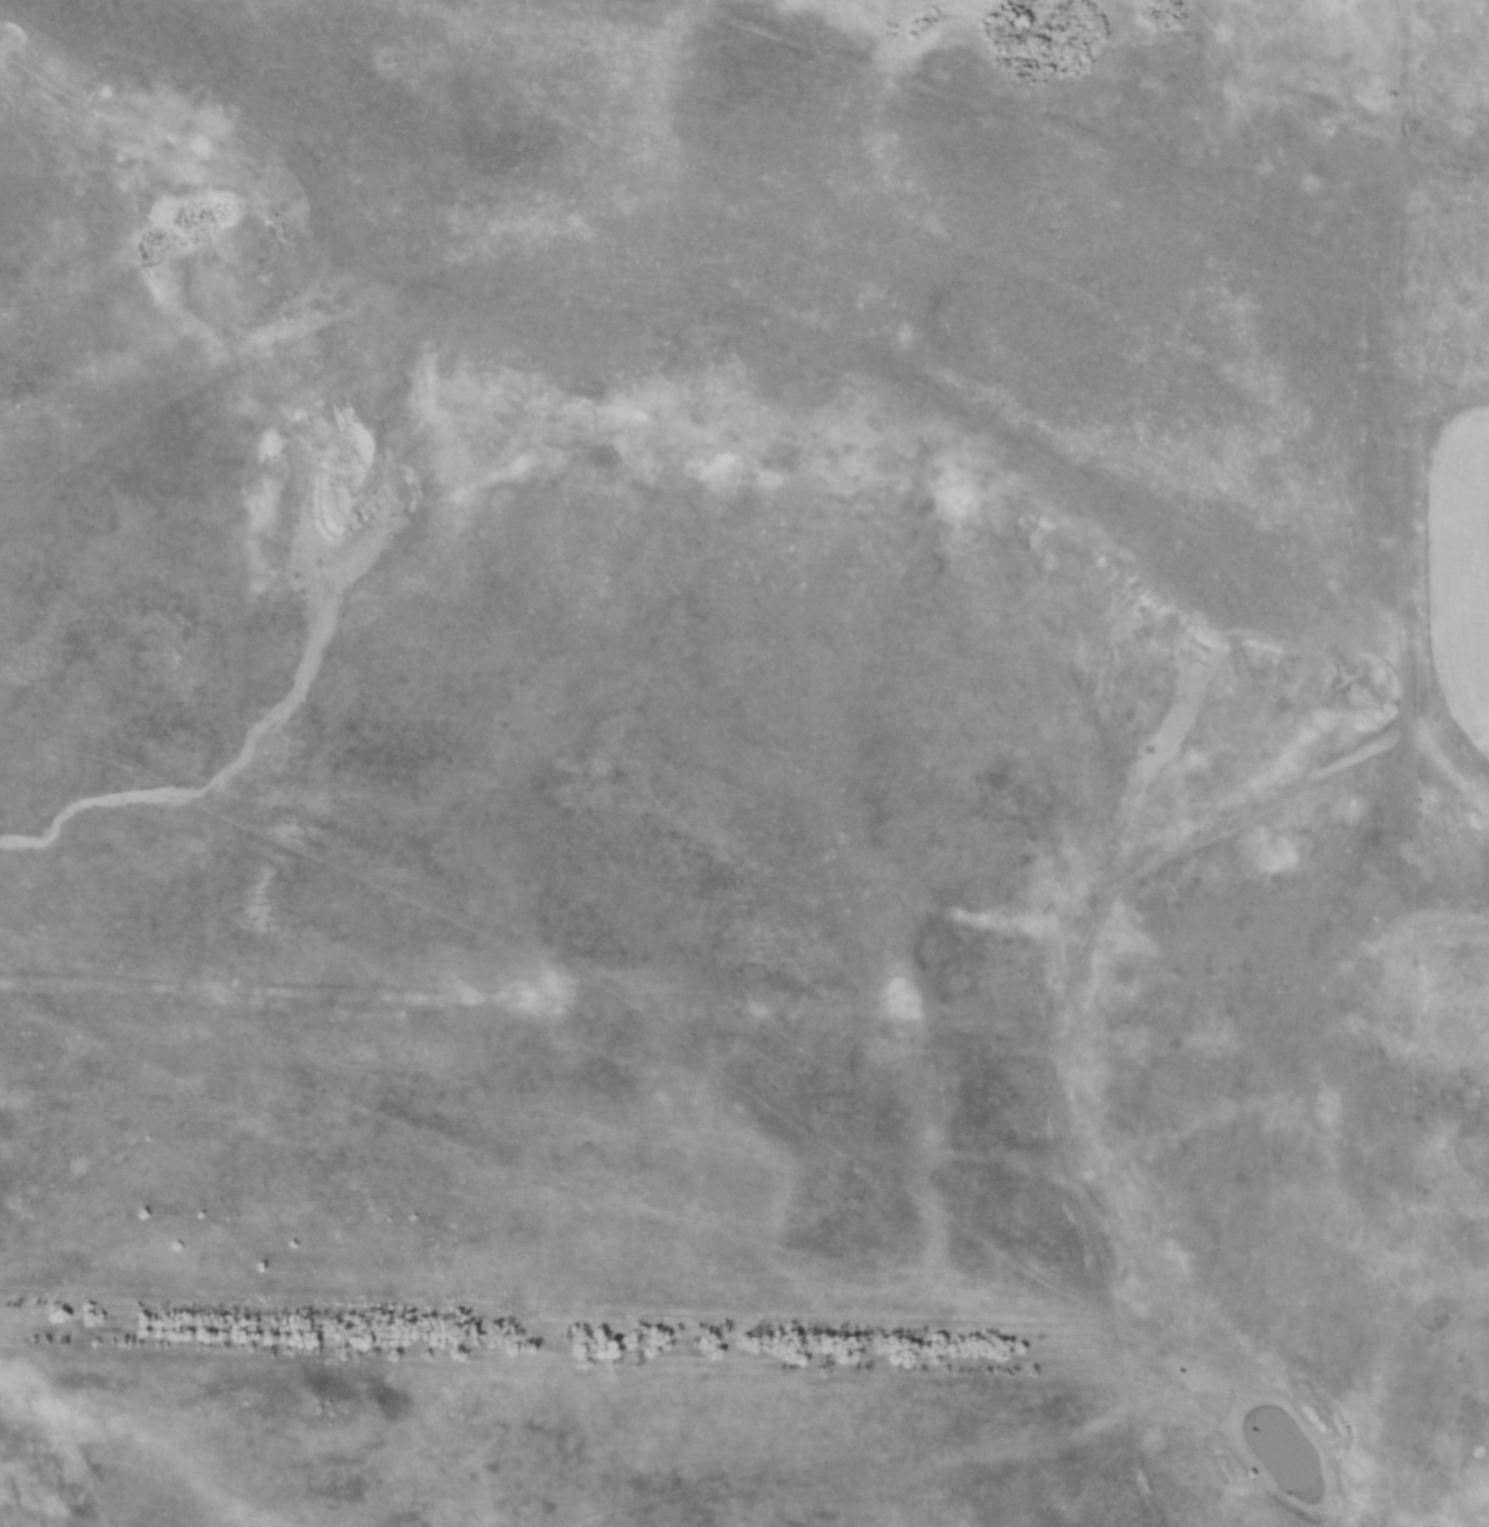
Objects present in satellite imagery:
road: (1408, 631)
road: (568, 971)

